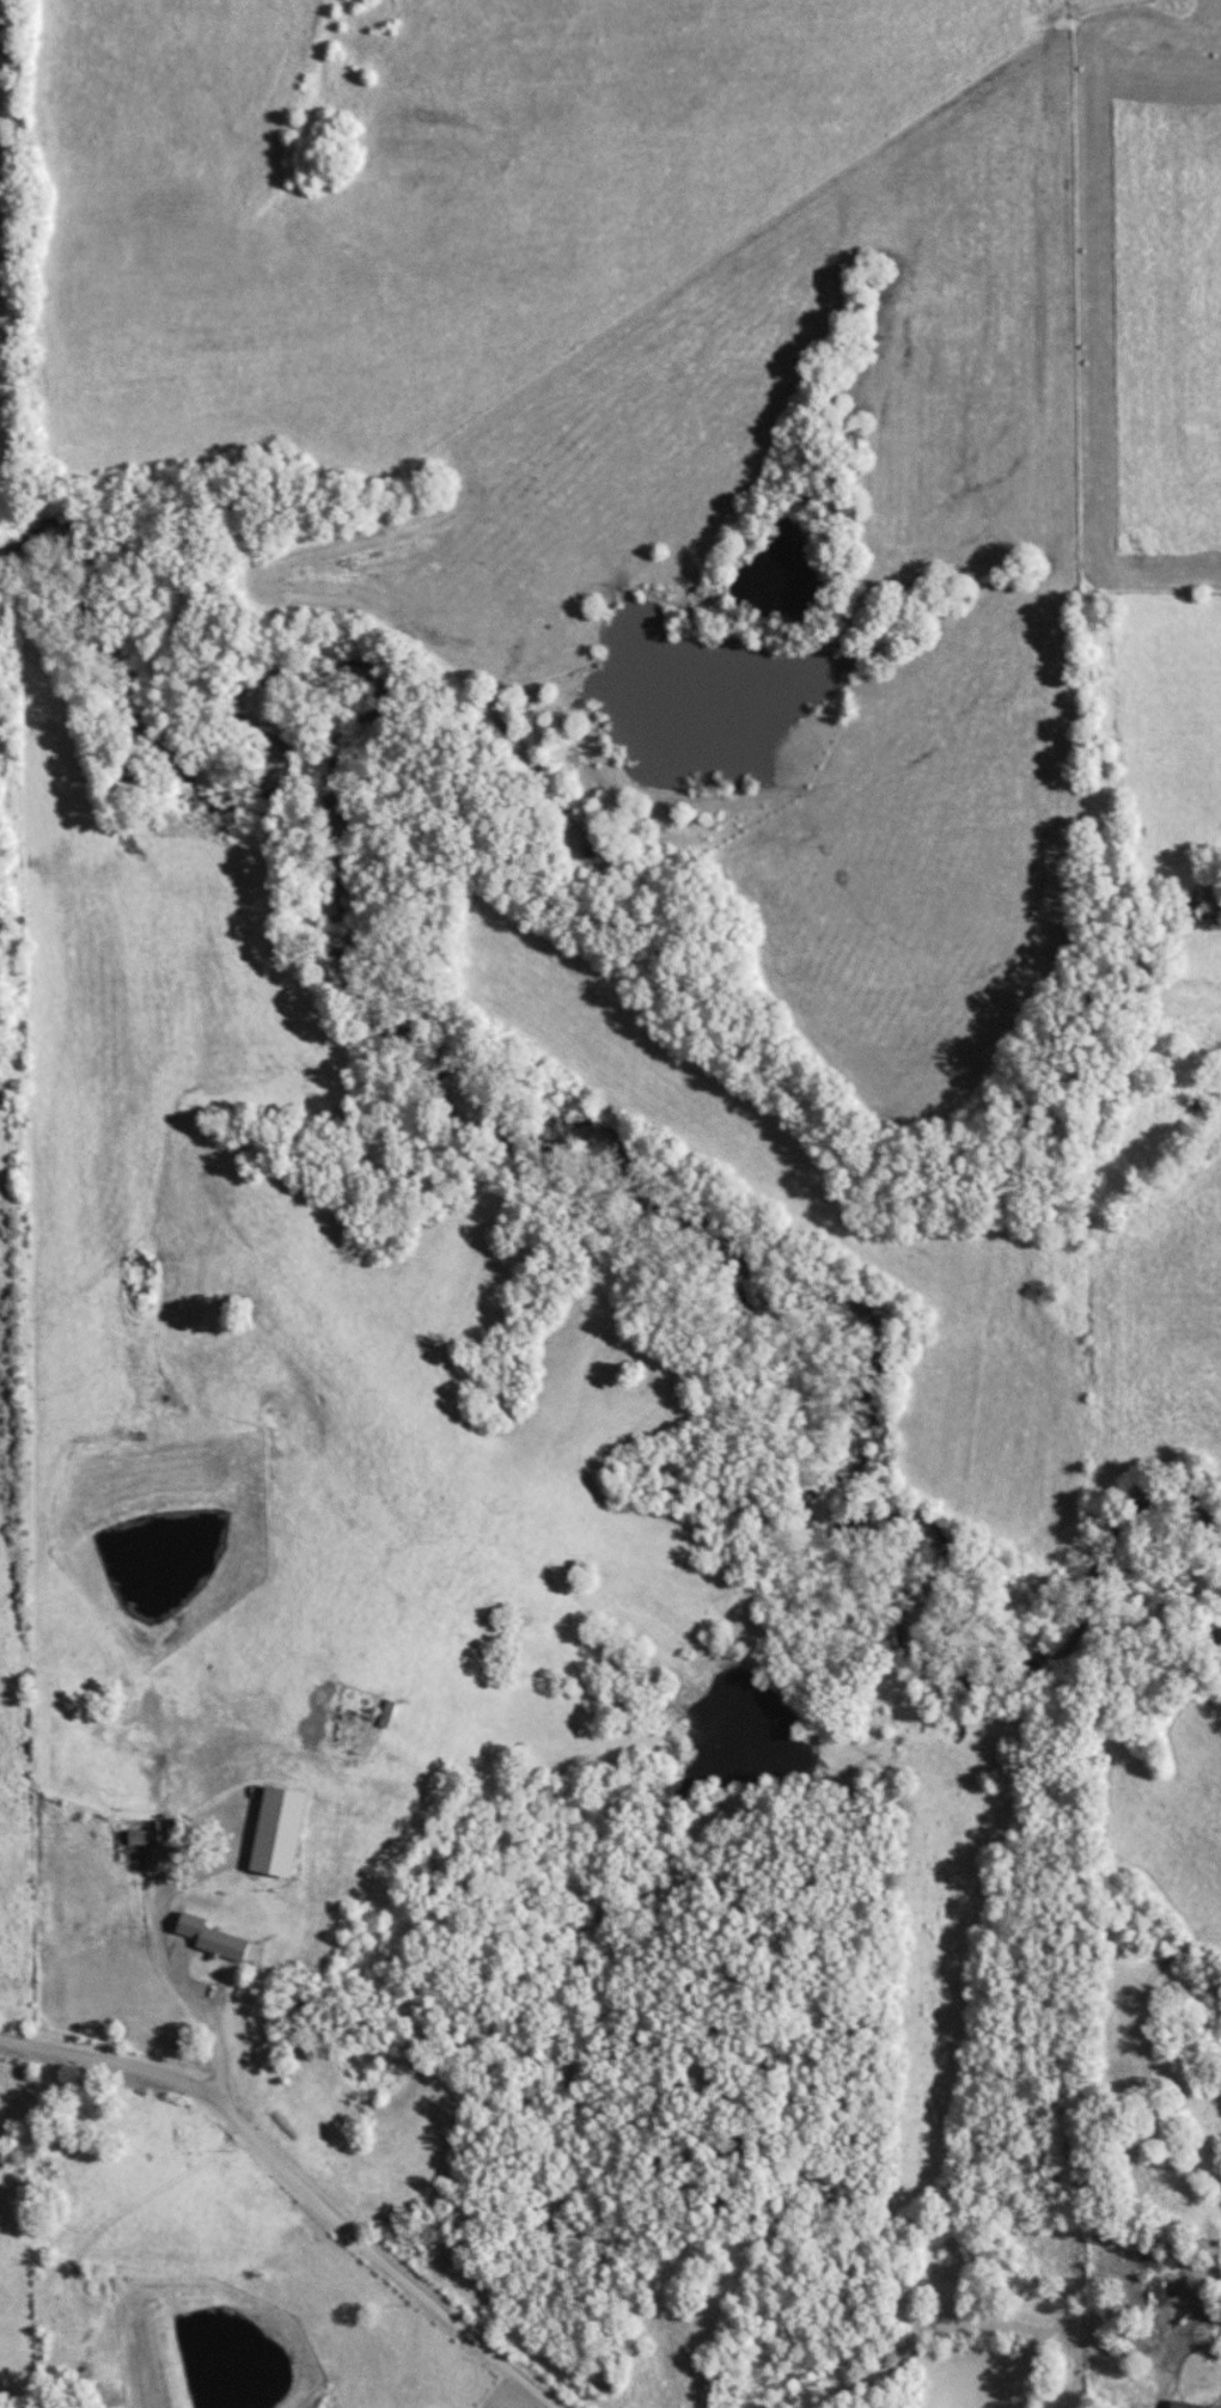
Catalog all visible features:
road: (167, 1890)
building: (210, 1939)
road: (303, 2178)
building: (1185, 2404)

